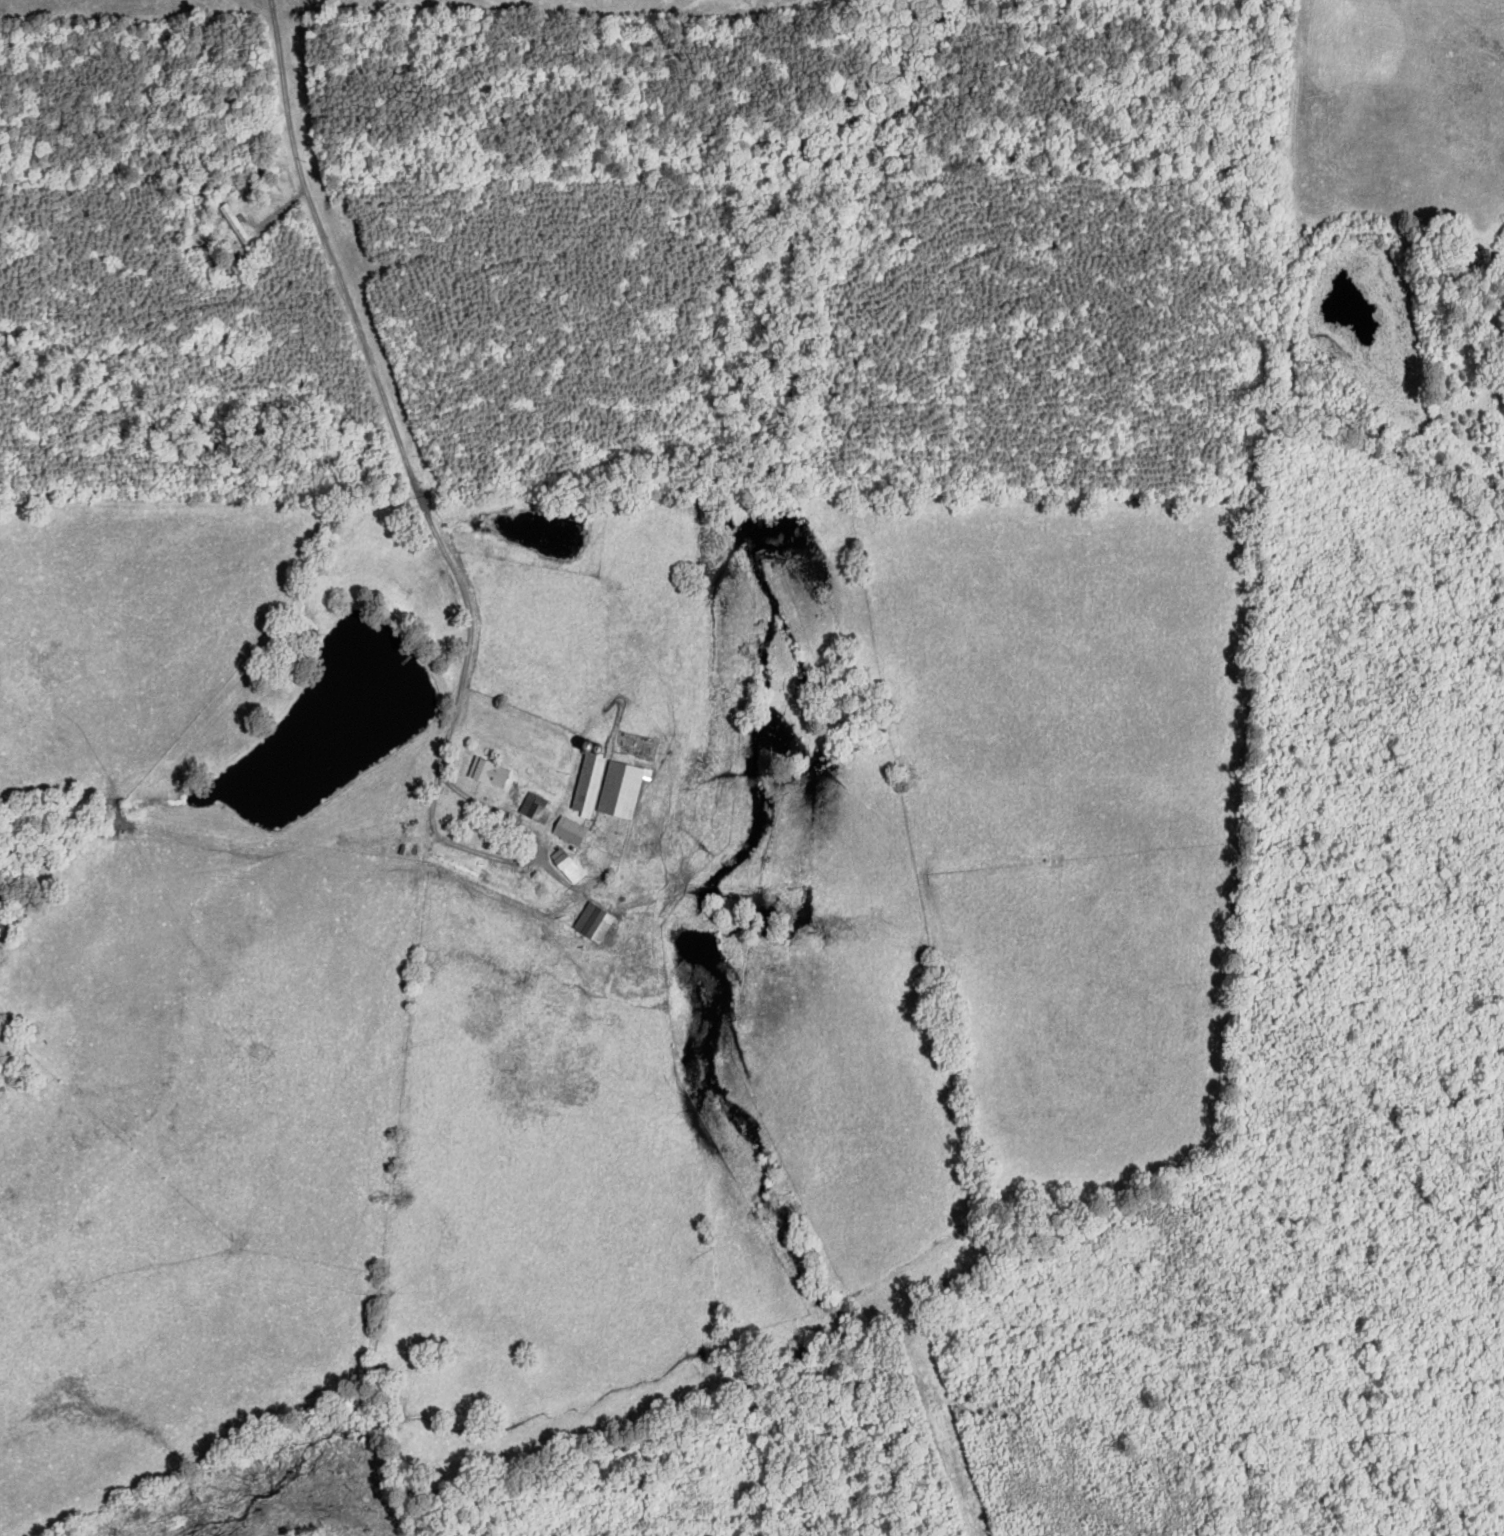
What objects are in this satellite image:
road: (379, 379)
building: (487, 772)
building: (586, 785)
building: (619, 788)
building: (533, 808)
building: (567, 830)
building: (565, 866)
building: (592, 922)

